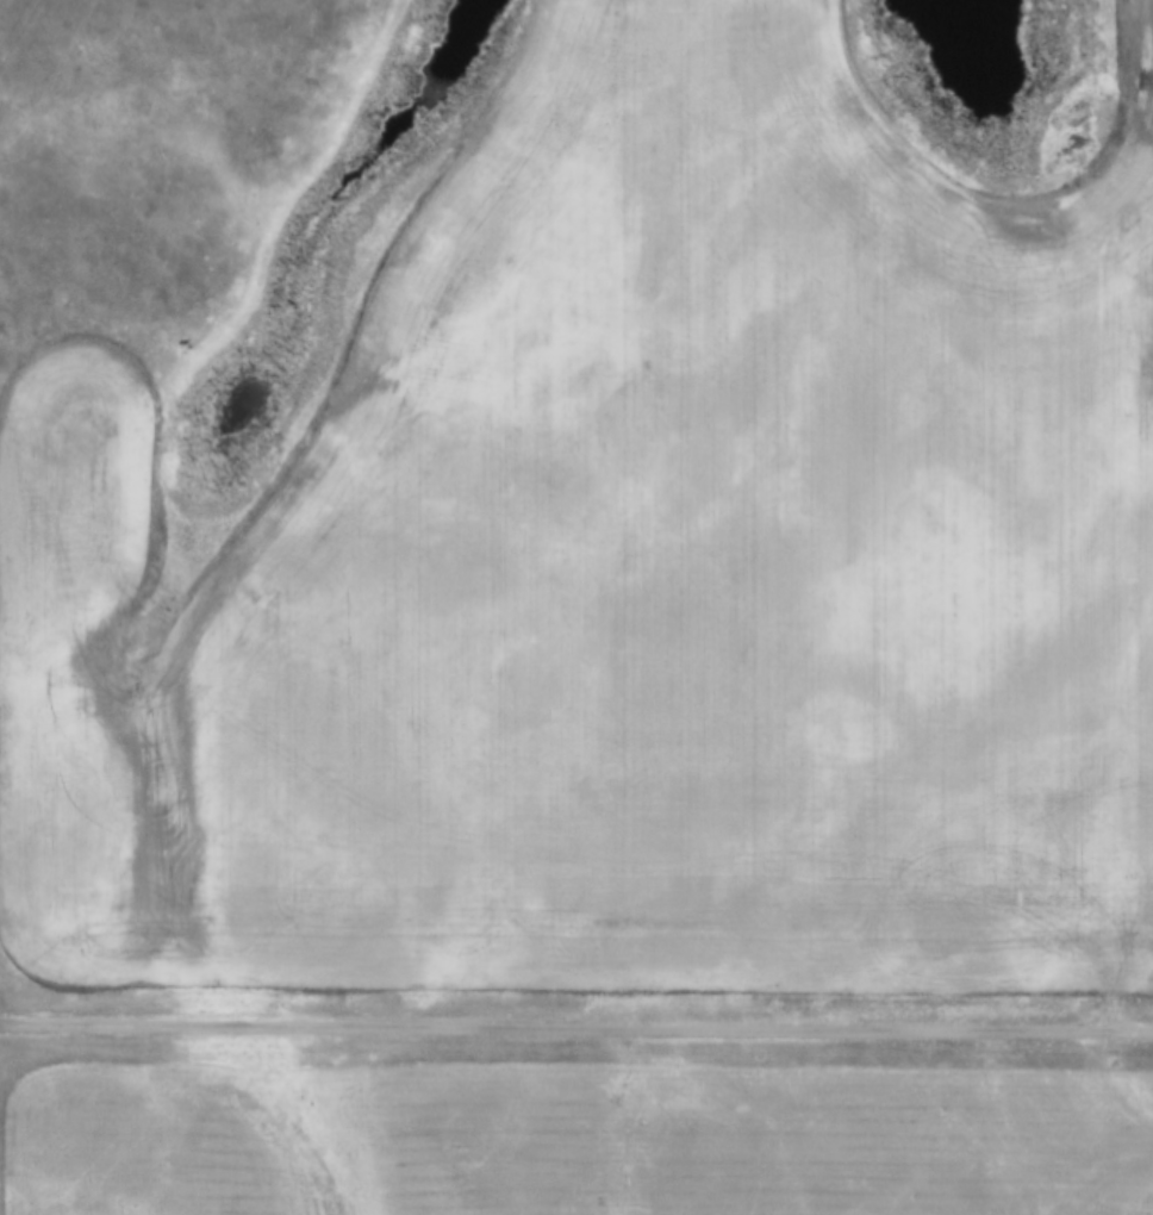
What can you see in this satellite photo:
road: (576, 1023)

